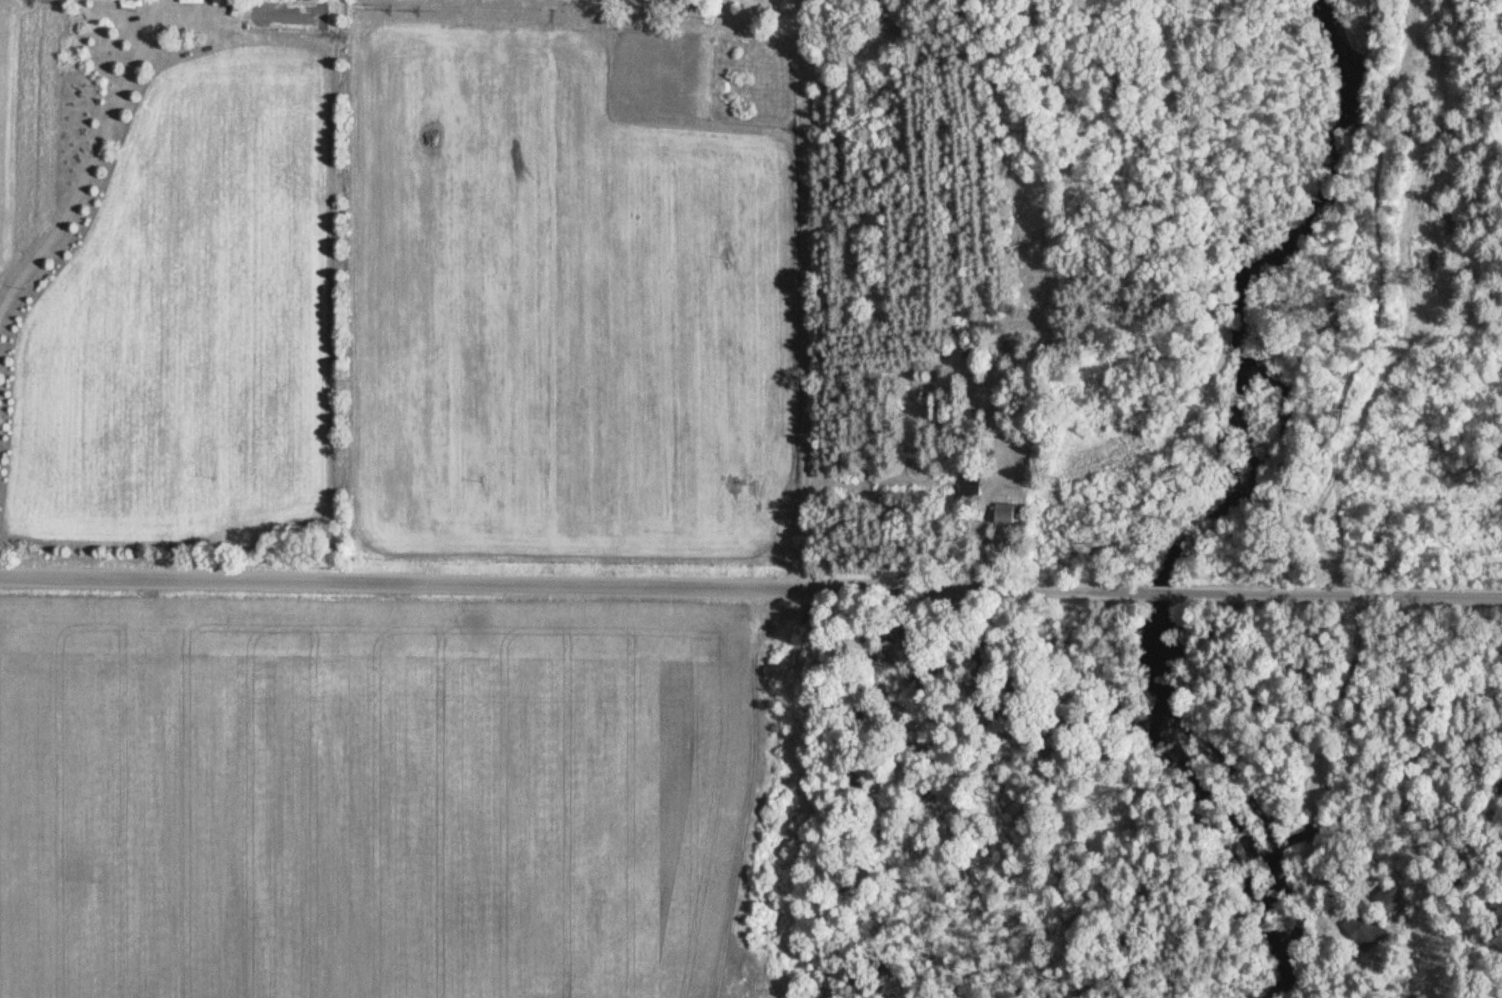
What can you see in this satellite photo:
river: (1239, 288)
road: (822, 297)
building: (1005, 513)
road: (751, 587)
river: (1158, 593)
road: (1337, 706)
river: (1220, 803)

